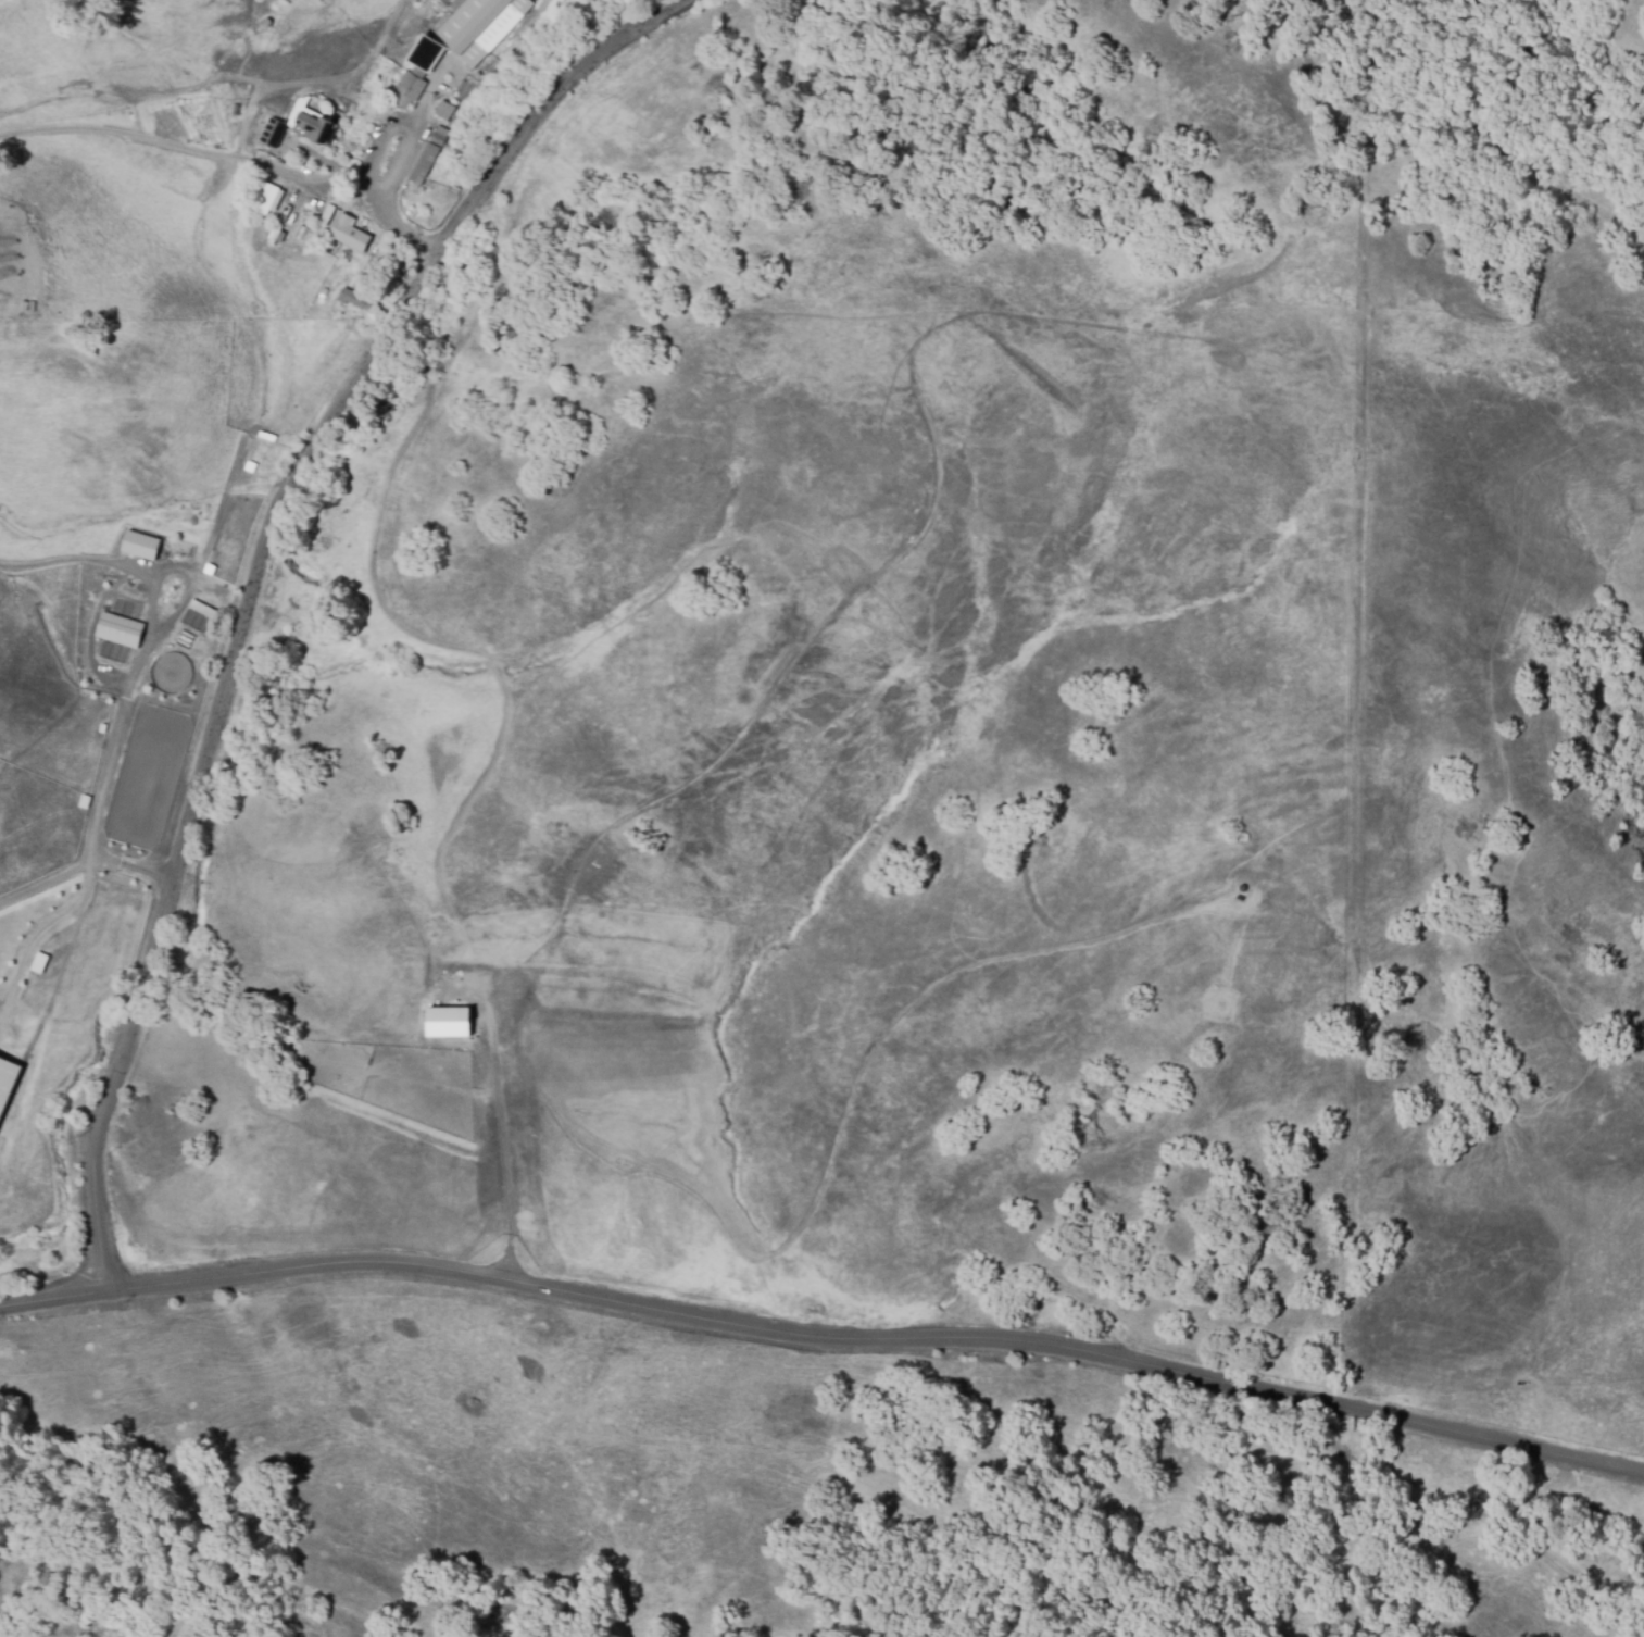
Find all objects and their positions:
building: (472, 28)
building: (406, 87)
building: (441, 108)
building: (311, 126)
building: (275, 134)
building: (424, 152)
road: (393, 170)
building: (260, 193)
building: (322, 211)
building: (346, 229)
building: (349, 295)
building: (140, 543)
road: (255, 580)
building: (201, 608)
building: (118, 628)
road: (128, 683)
road: (46, 880)
building: (38, 961)
building: (448, 1021)
road: (502, 1144)
road: (821, 1335)

